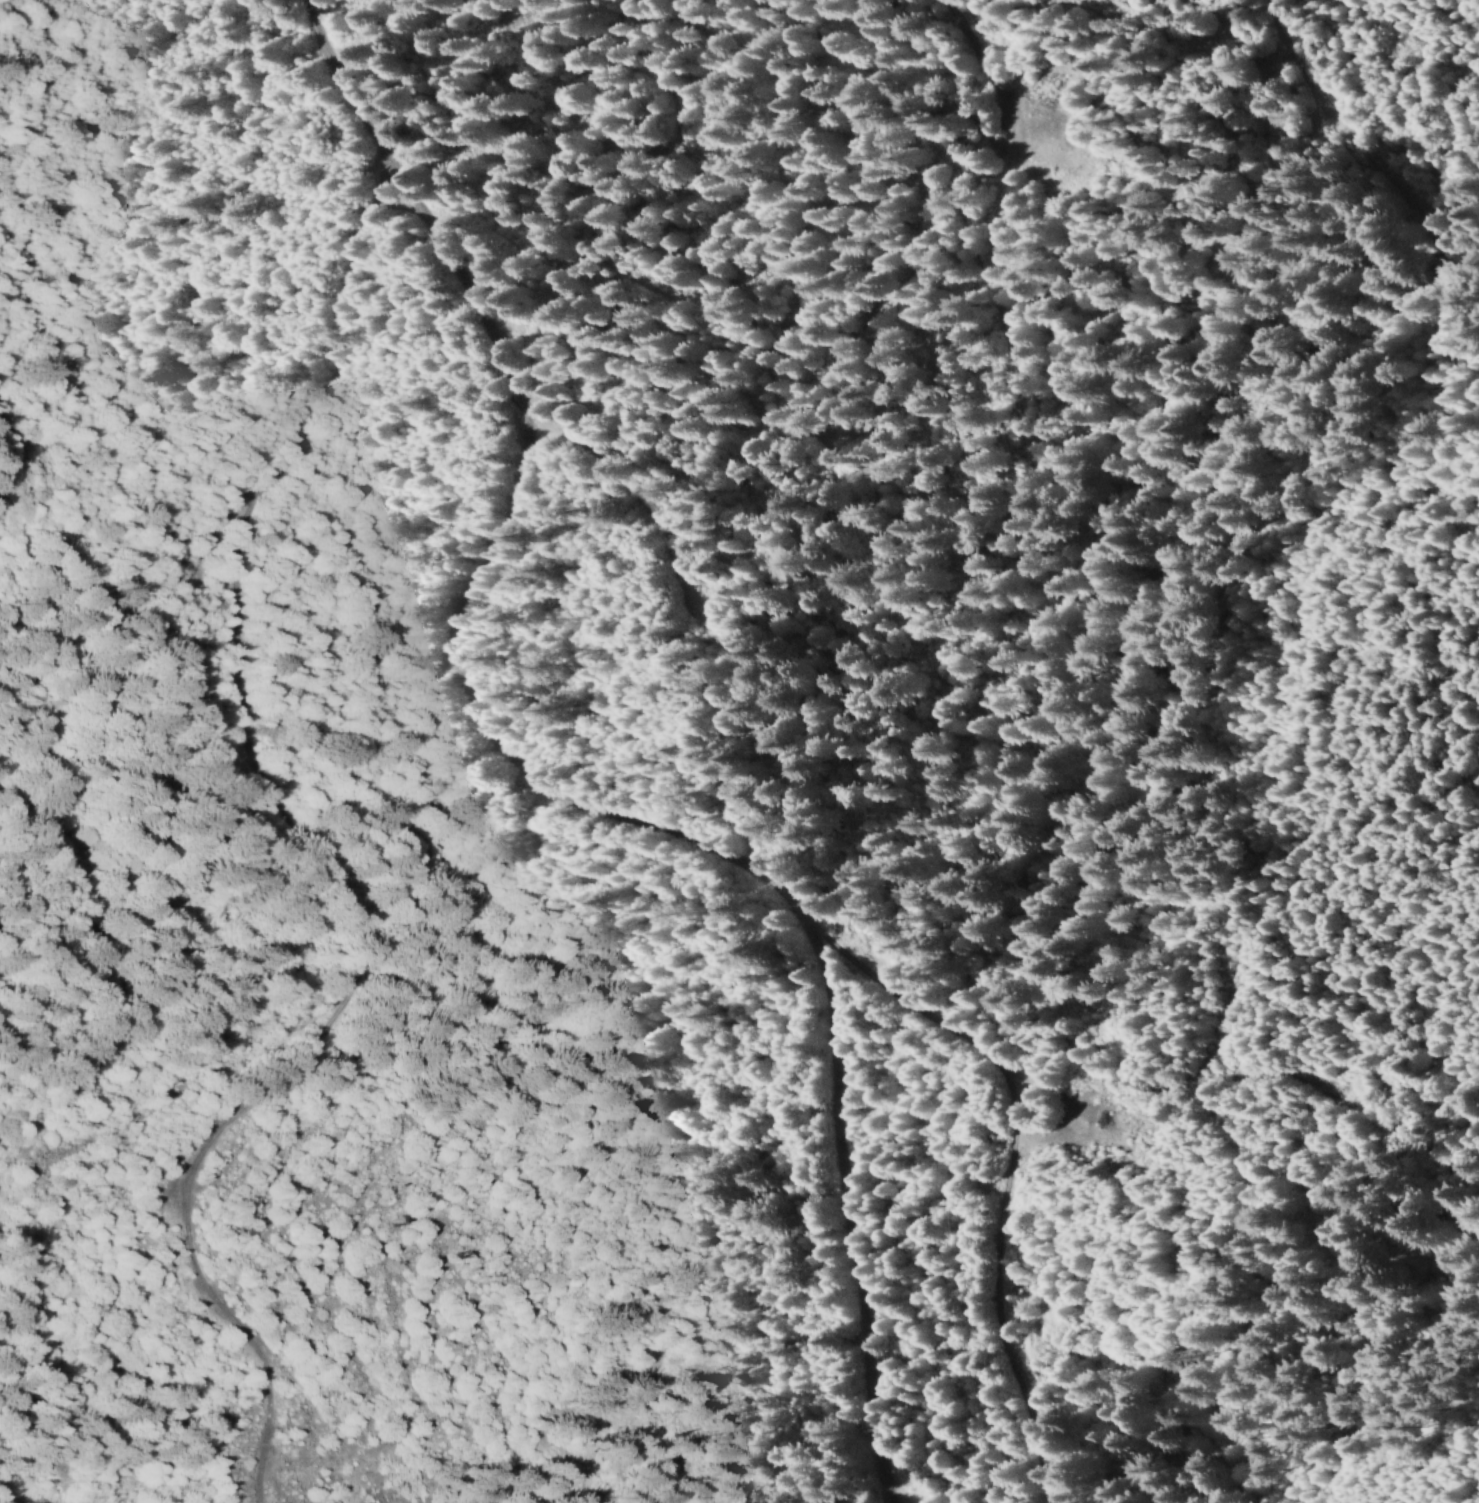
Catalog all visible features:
road: (541, 789)
road: (334, 866)

